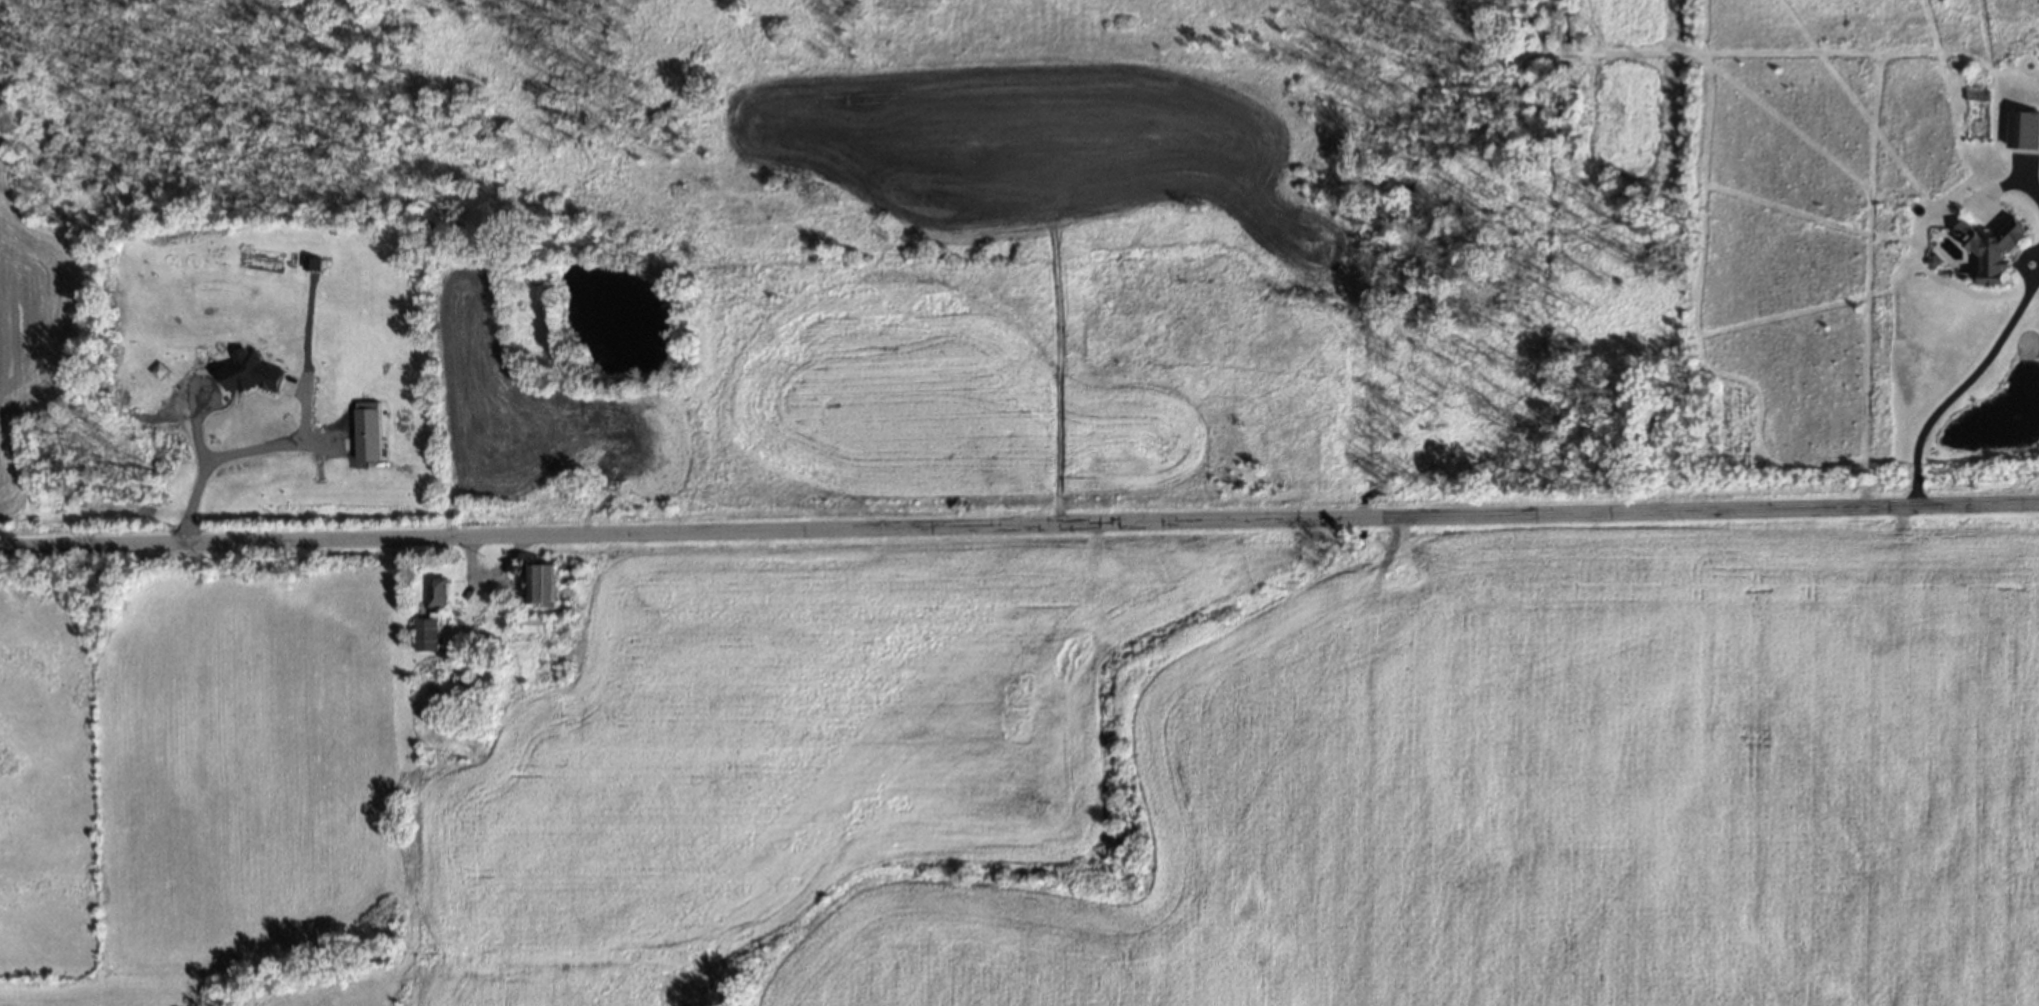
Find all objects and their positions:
road: (2021, 187)
building: (1991, 247)
road: (1970, 376)
road: (267, 443)
road: (206, 464)
road: (1019, 526)
road: (487, 573)
building: (545, 581)
building: (435, 593)
building: (528, 624)
building: (425, 634)

